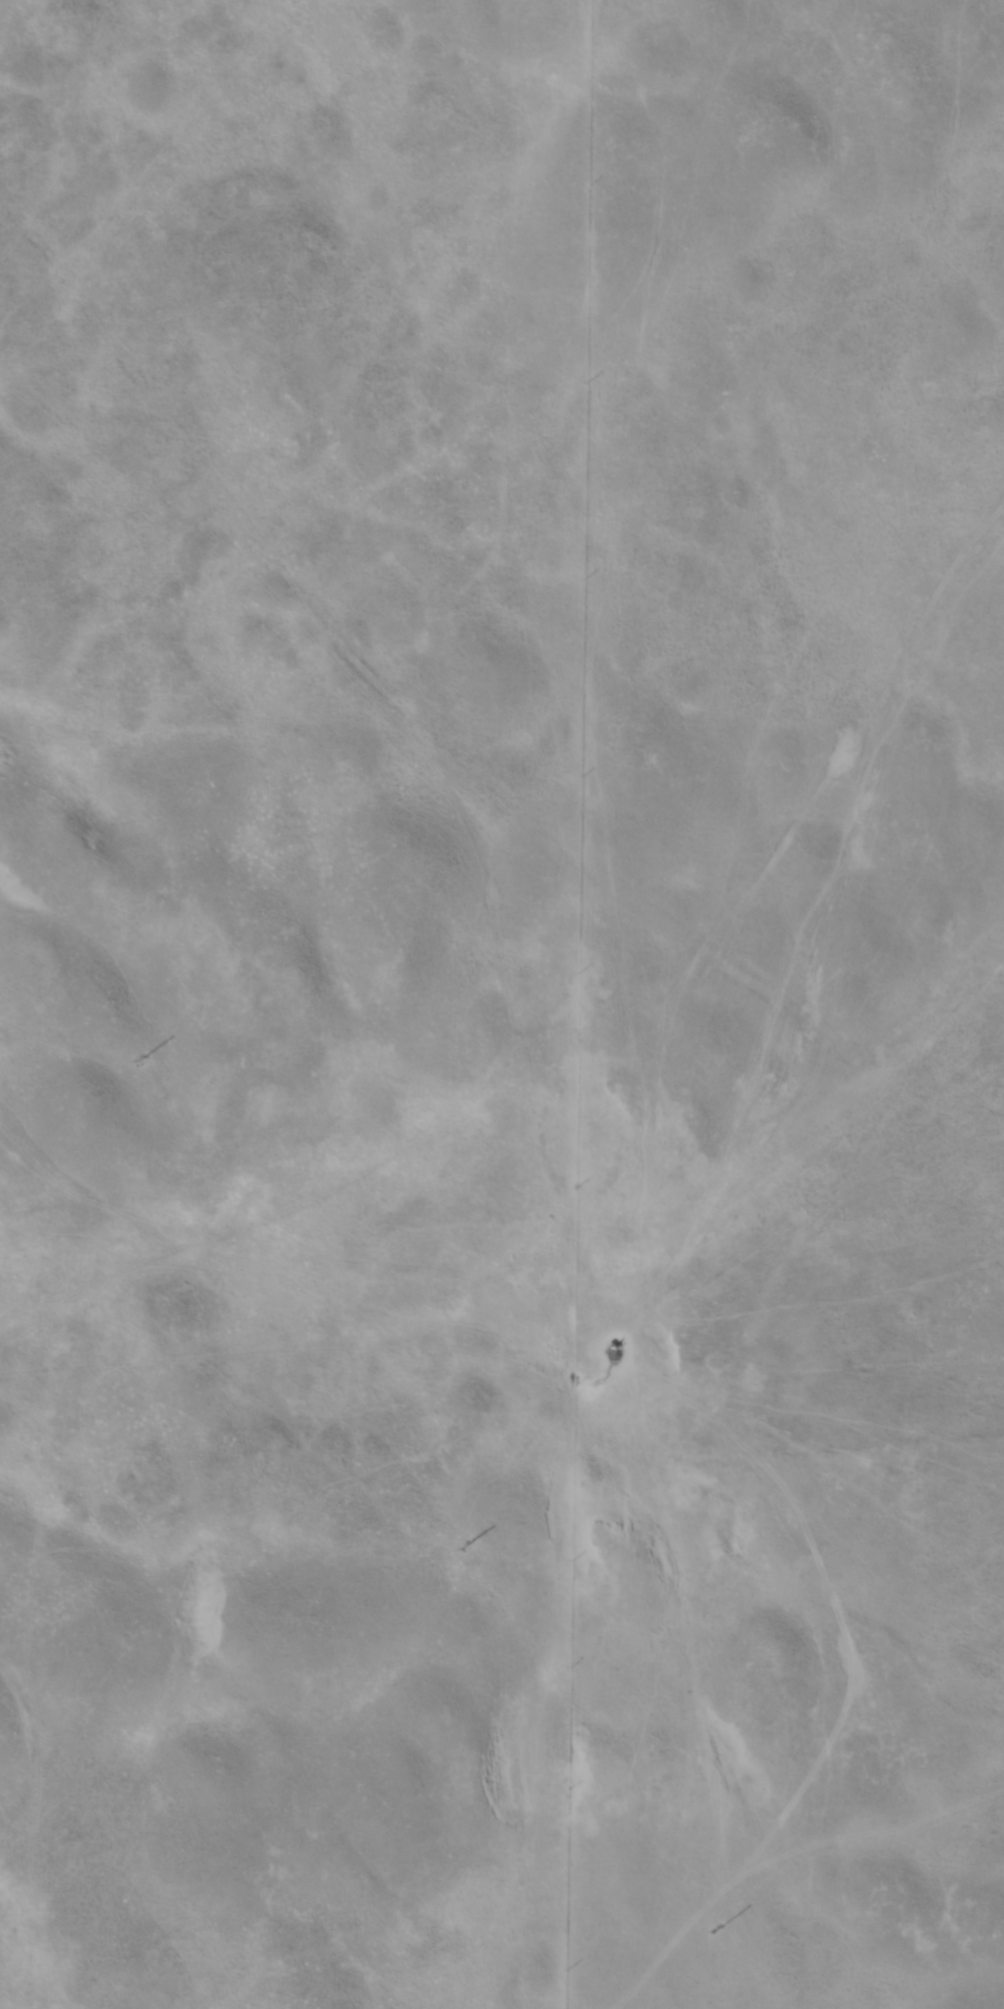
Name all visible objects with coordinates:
power tower: (146, 1058)
power tower: (469, 1545)
power tower: (722, 1927)

